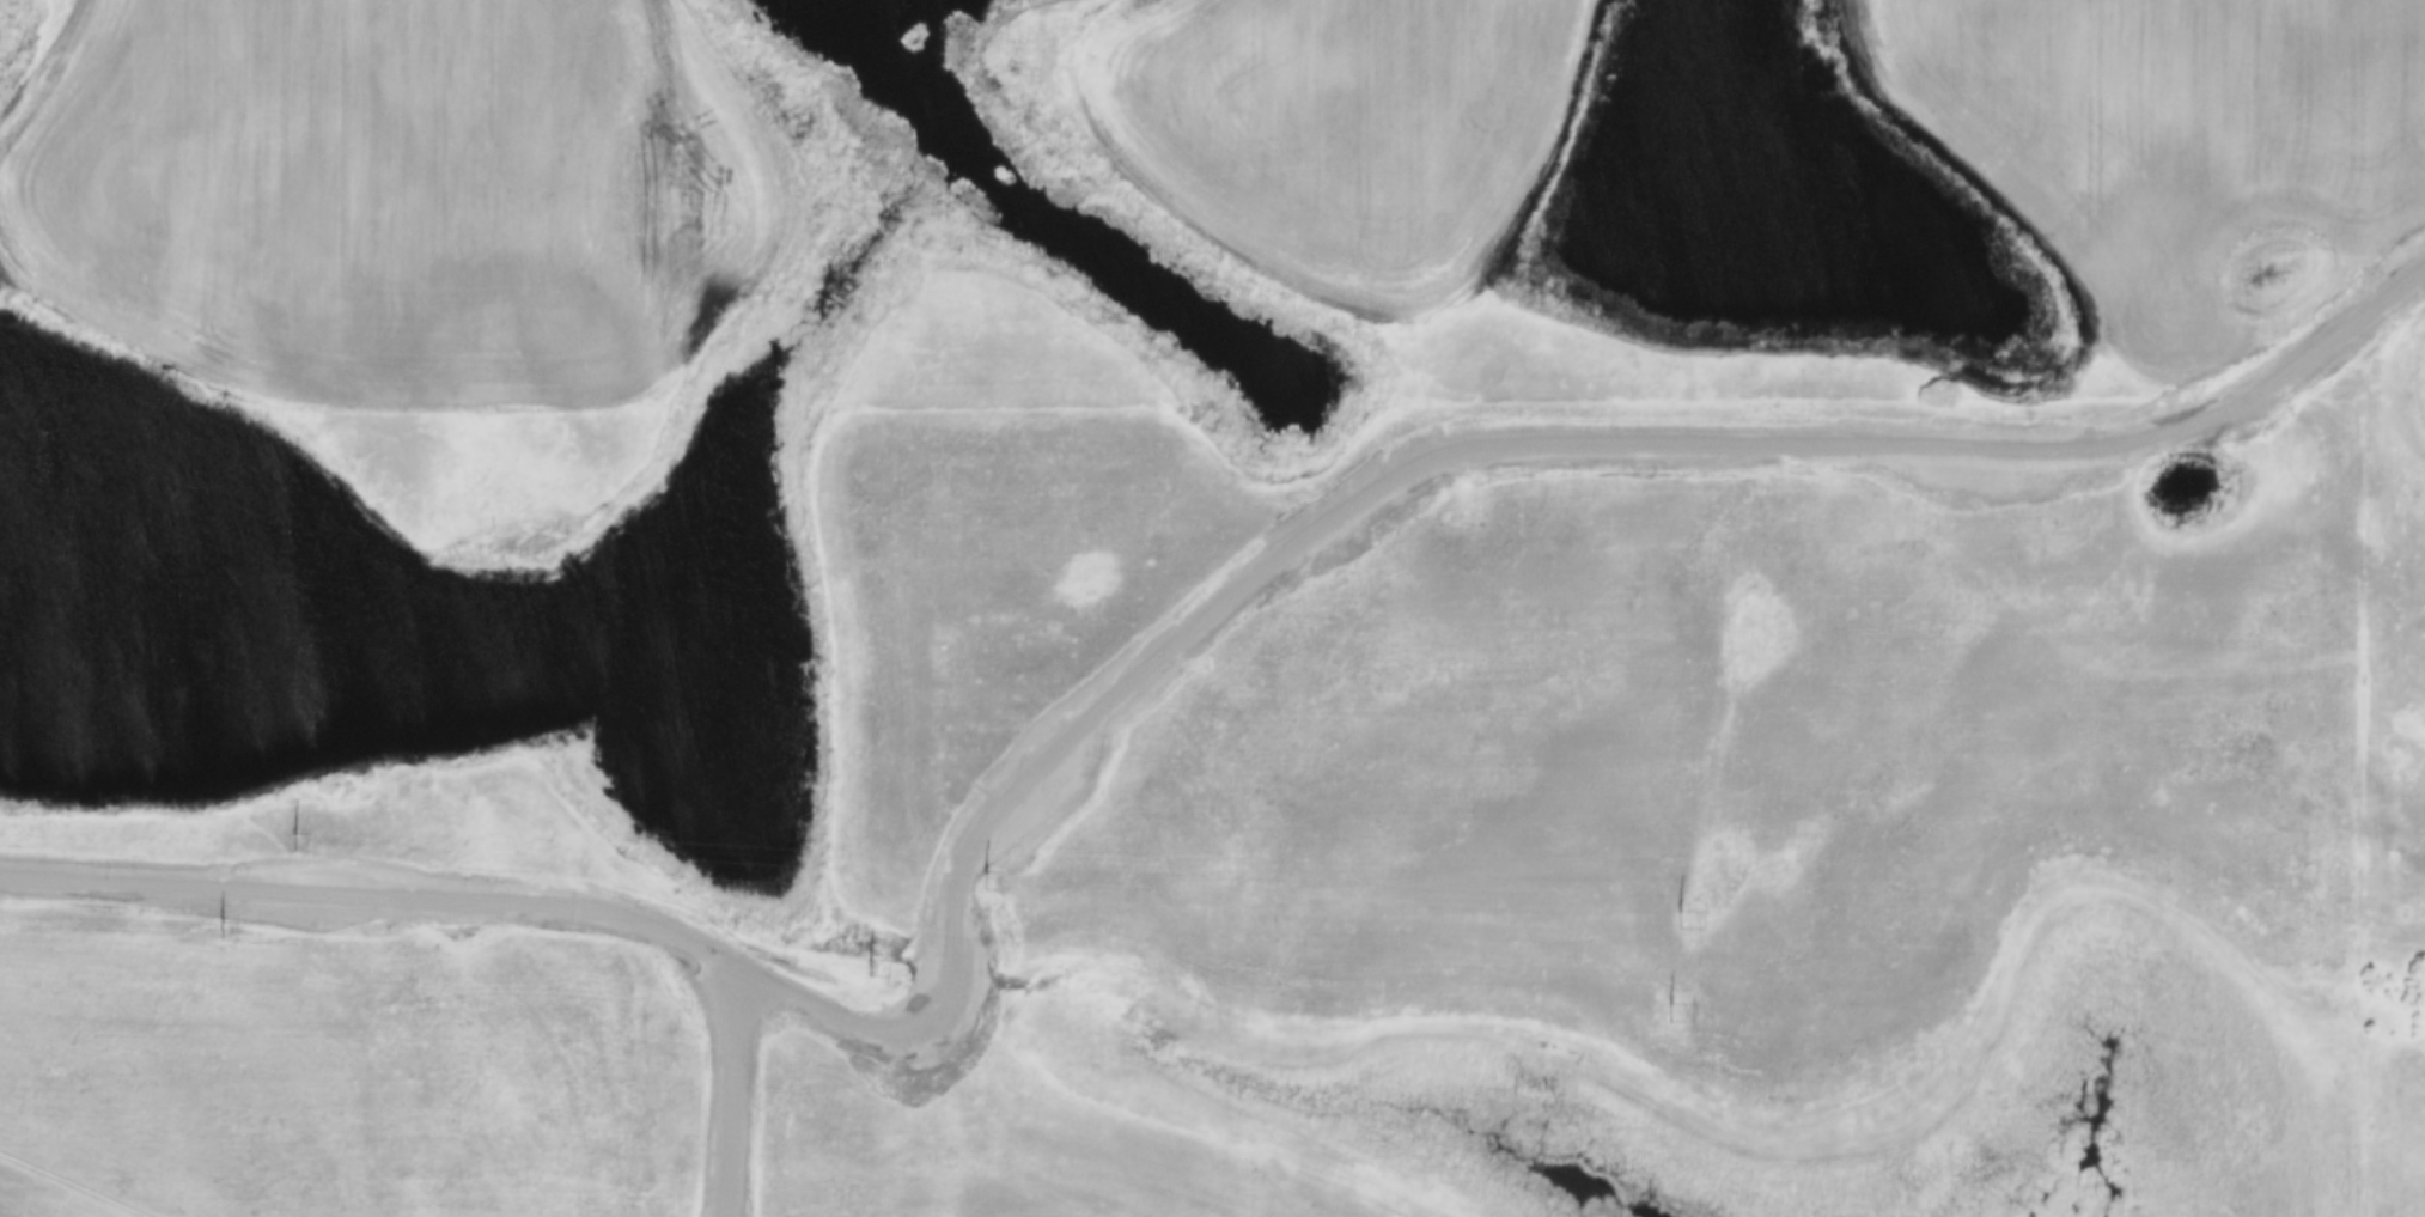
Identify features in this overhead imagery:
power tower: (217, 933)
power tower: (867, 968)
power tower: (1665, 1011)

